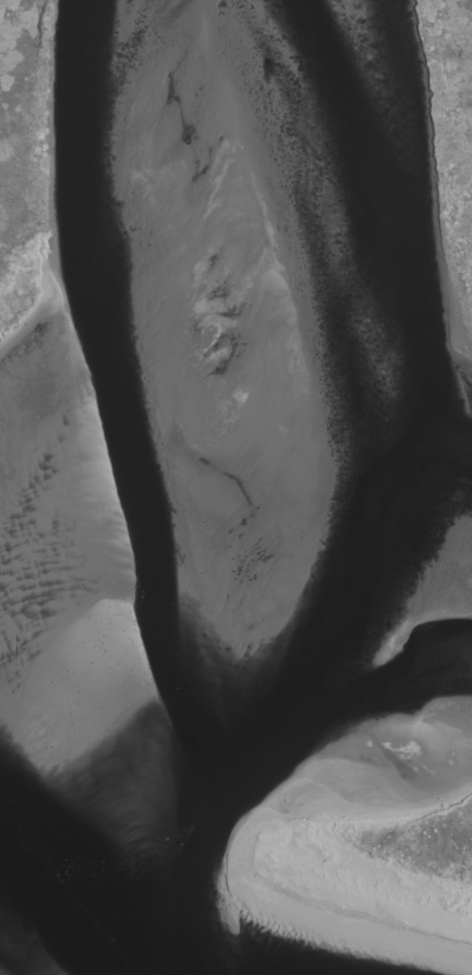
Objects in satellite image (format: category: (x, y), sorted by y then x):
airport: (236, 487)

